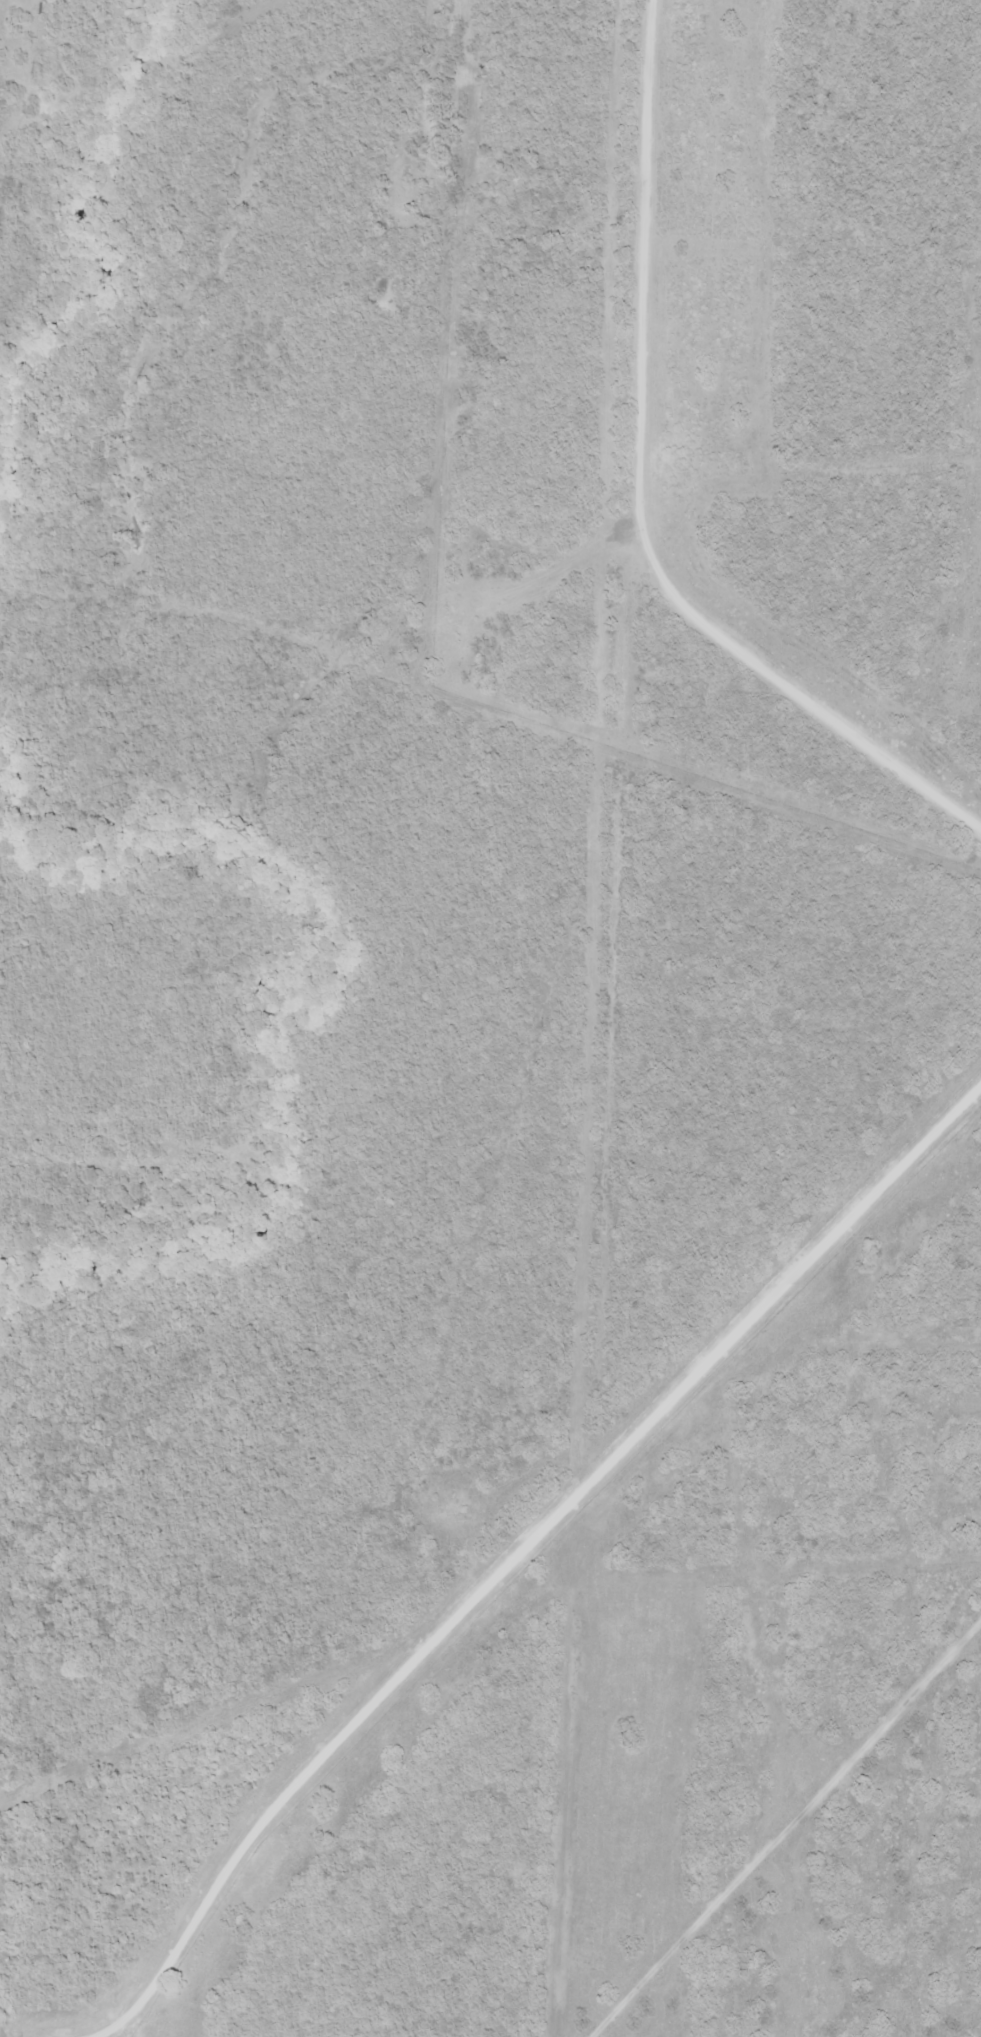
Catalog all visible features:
road: (111, 1125)
road: (522, 1548)

